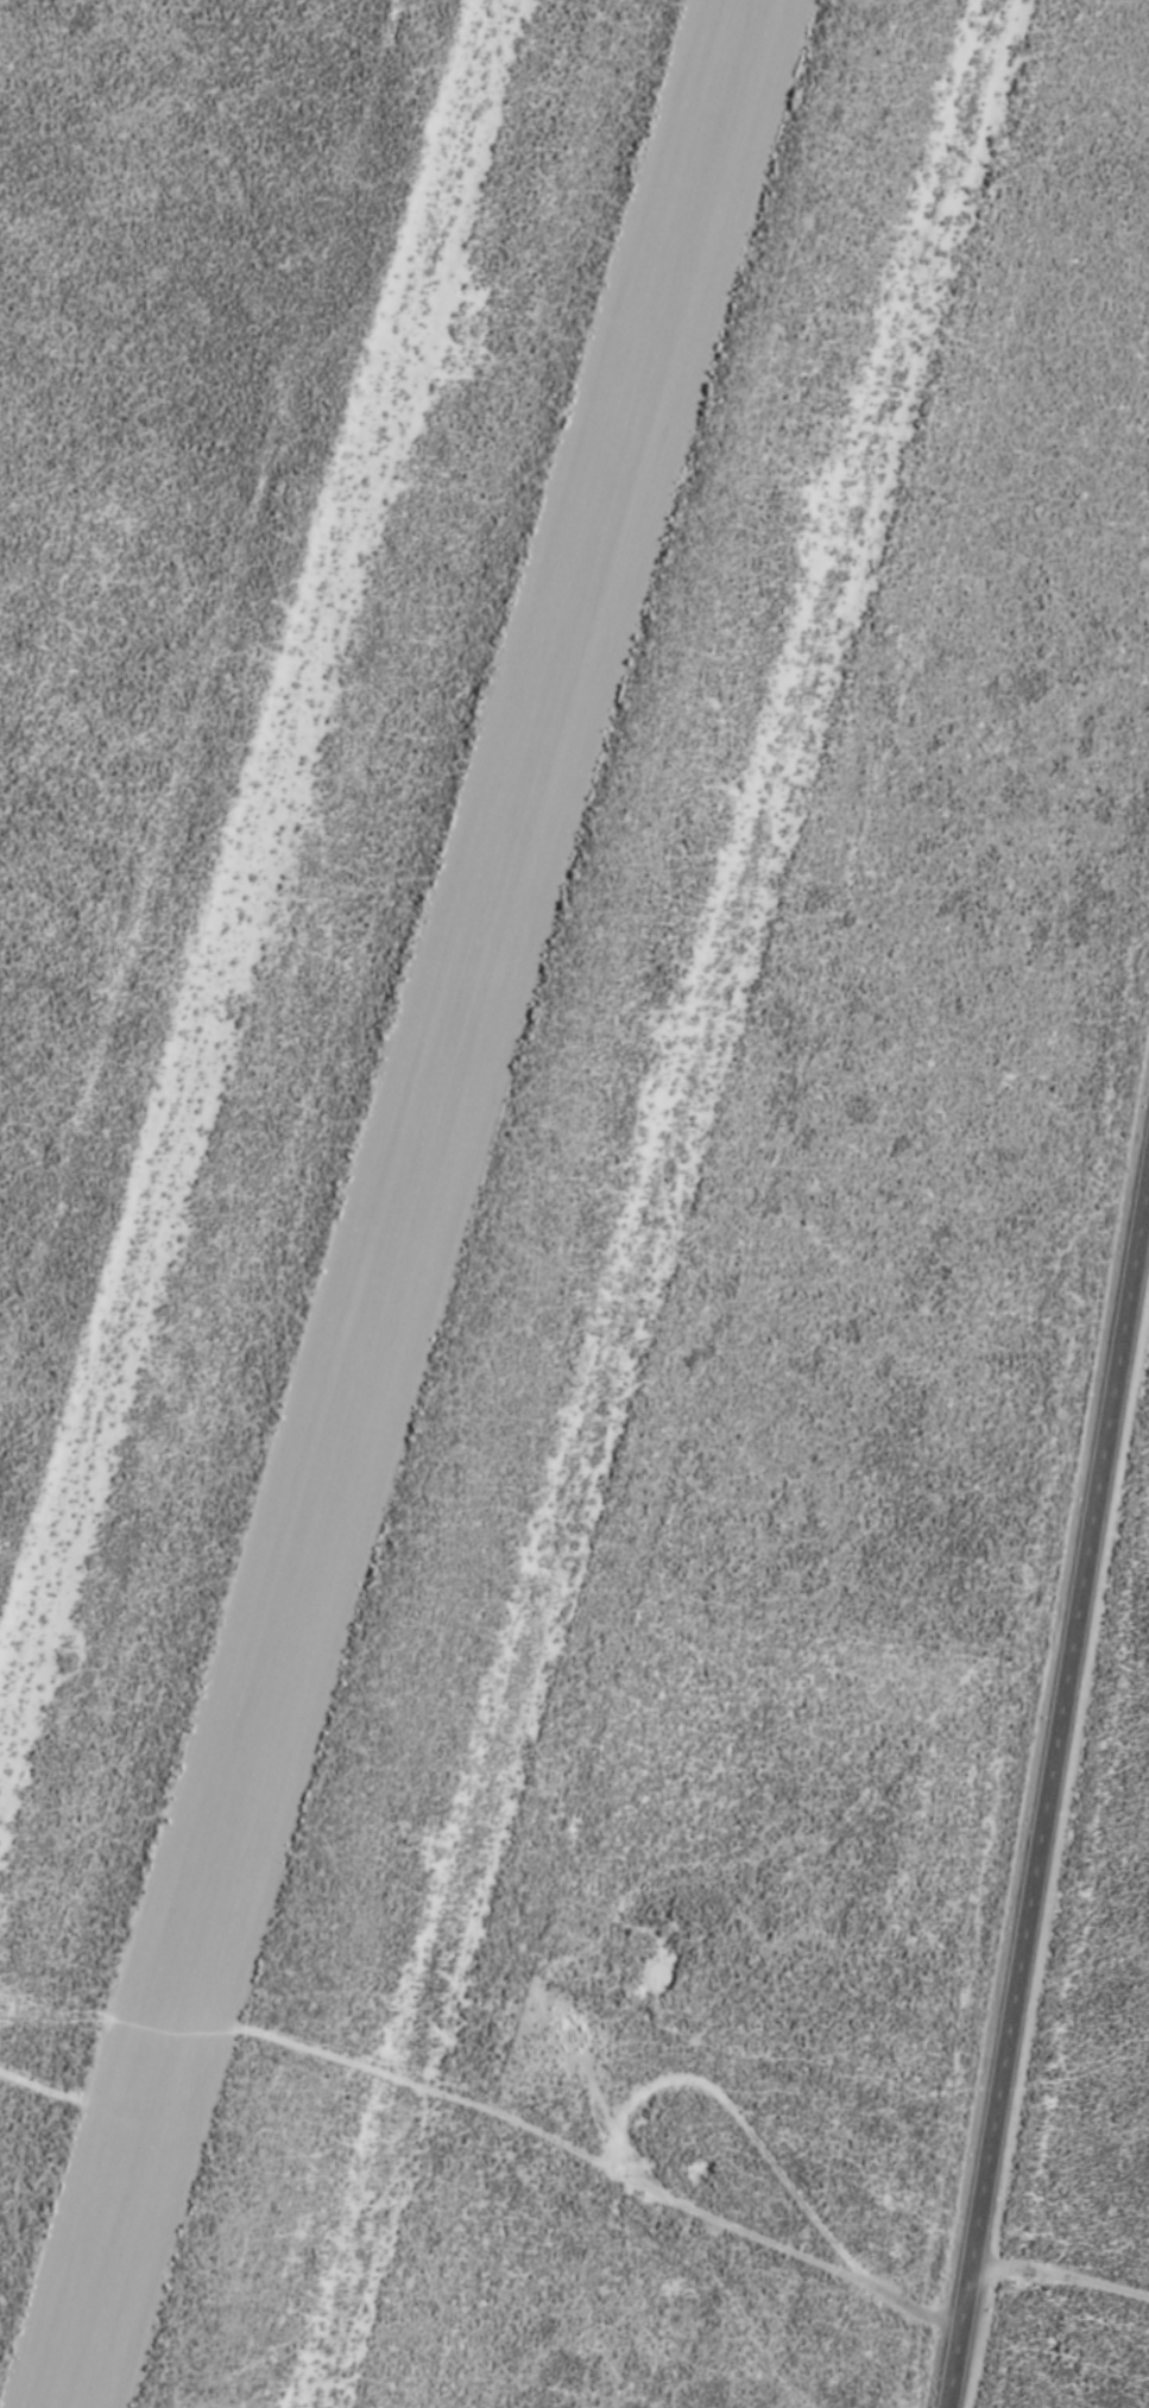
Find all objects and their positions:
airport runway: (406, 1203)
road: (1047, 1790)
road: (39, 2081)
road: (741, 2117)
road: (576, 2147)
road: (1060, 2273)

